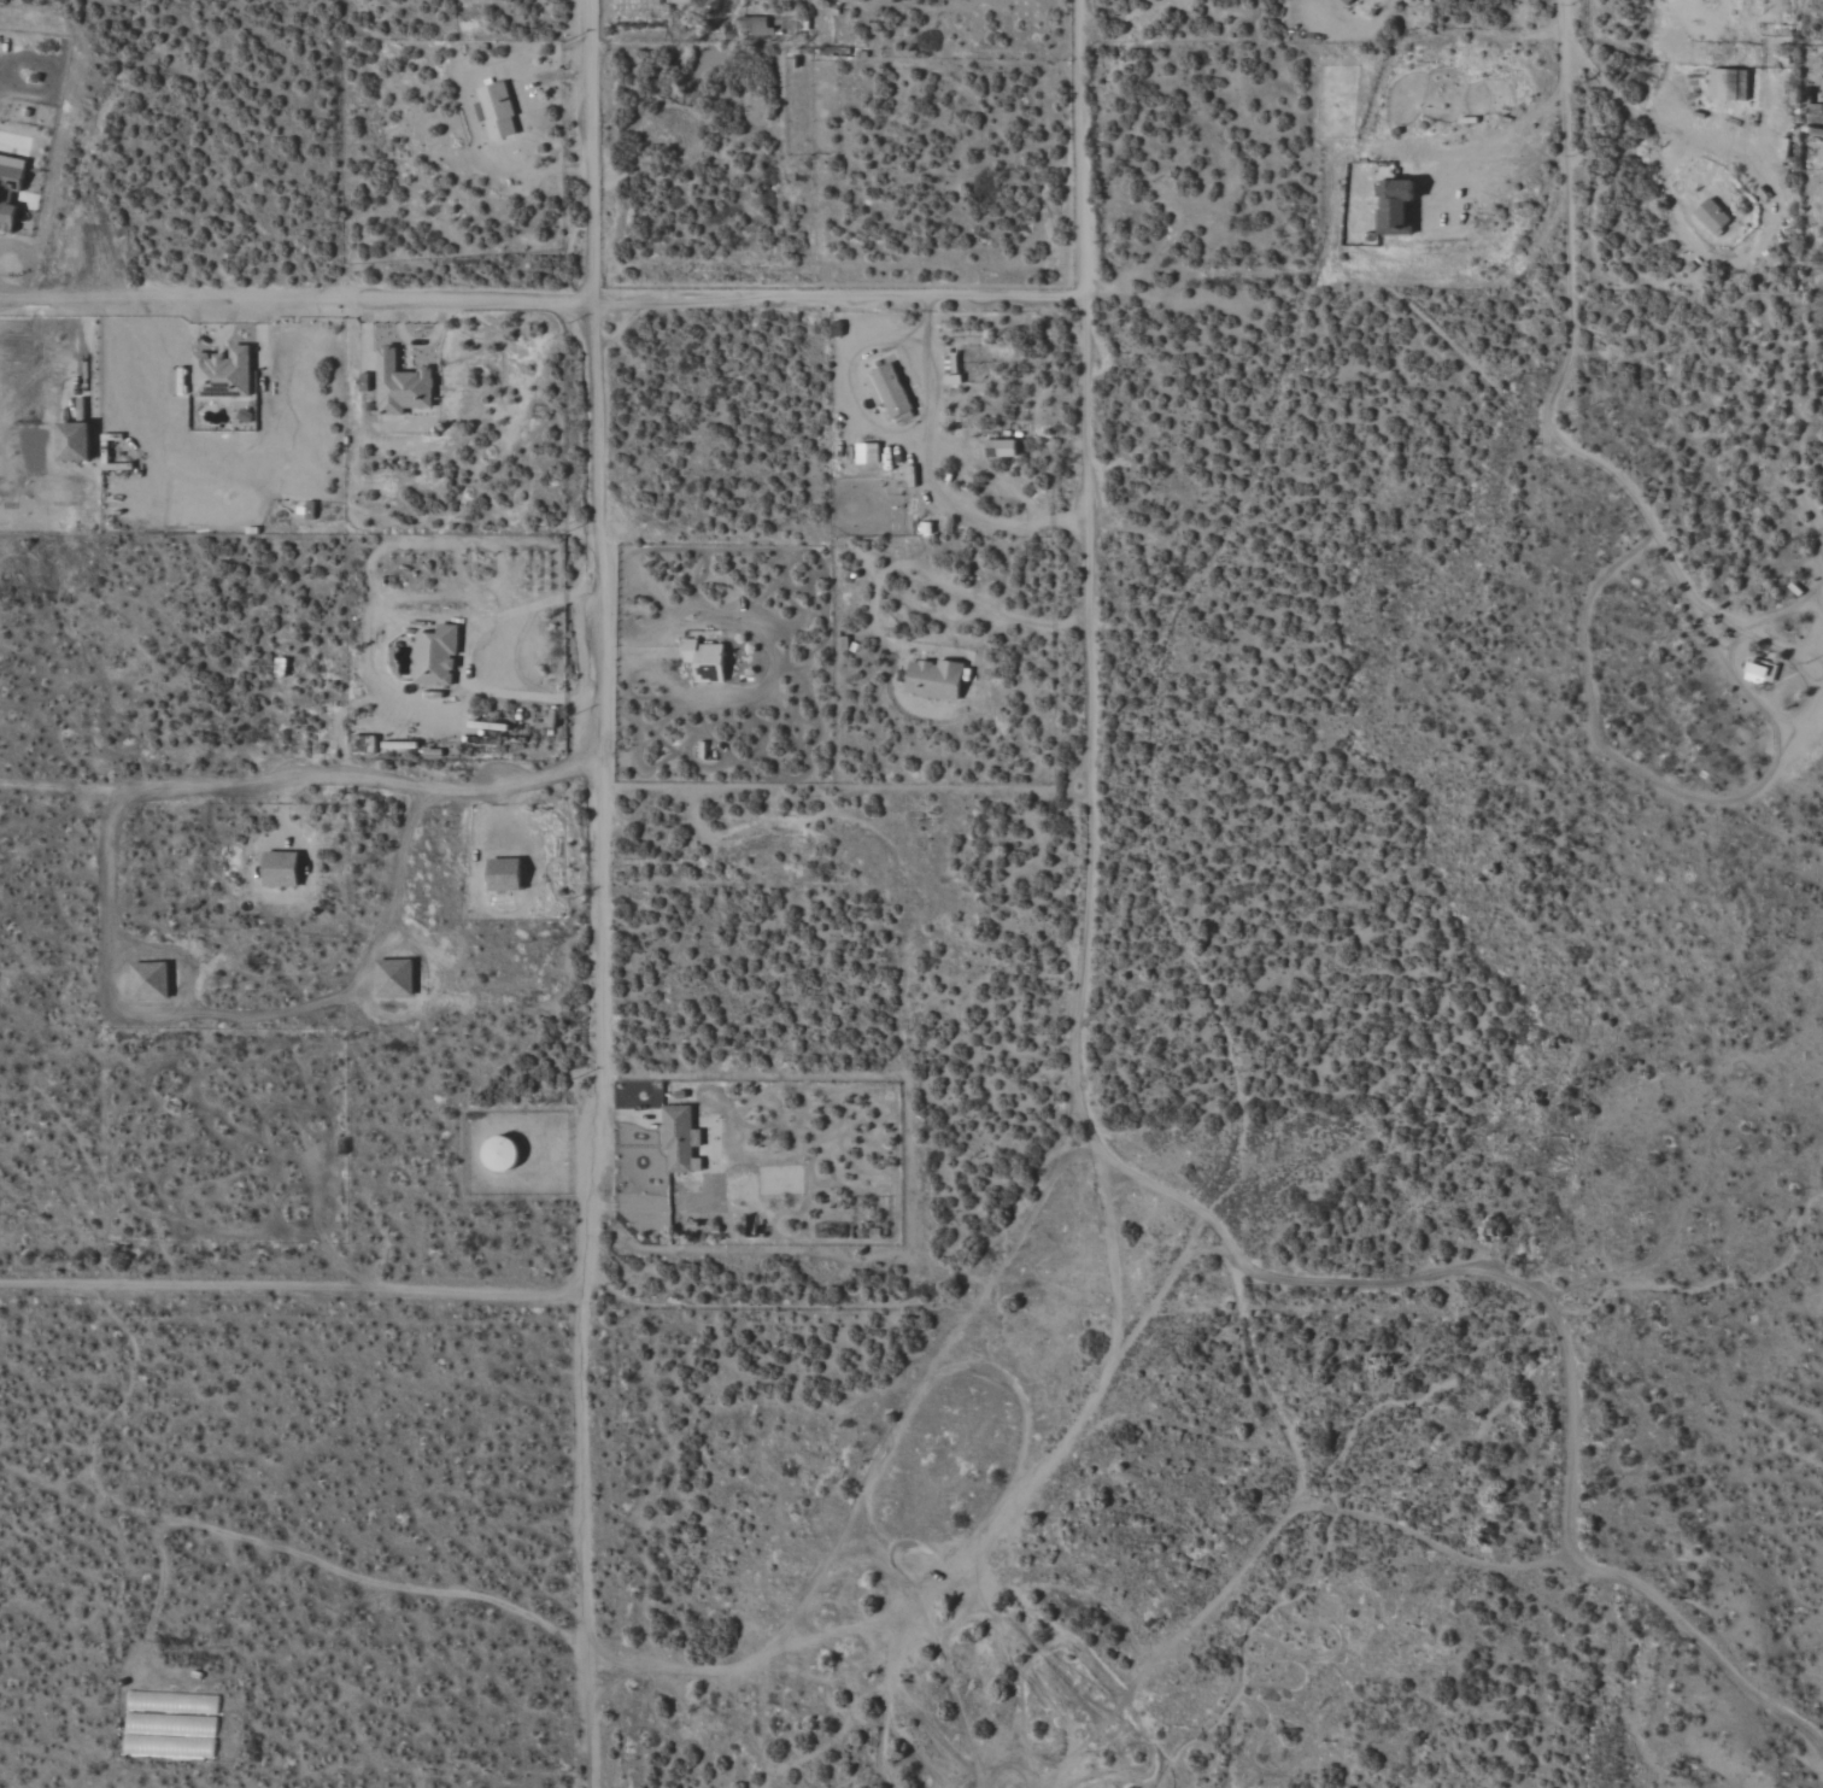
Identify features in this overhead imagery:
building: (1343, 1)
building: (1725, 86)
building: (496, 111)
road: (1566, 141)
building: (12, 188)
road: (1764, 189)
building: (1710, 217)
road: (297, 297)
road: (838, 300)
building: (229, 373)
building: (182, 381)
building: (405, 385)
building: (885, 392)
building: (81, 441)
building: (1000, 449)
building: (864, 455)
road: (925, 477)
road: (1626, 487)
building: (440, 655)
road: (467, 655)
building: (710, 661)
building: (1758, 672)
building: (940, 679)
road: (298, 775)
building: (286, 870)
building: (511, 874)
road: (596, 893)
road: (1173, 933)
building: (399, 978)
building: (154, 980)
road: (239, 1016)
road: (1085, 1116)
building: (508, 1154)
road: (298, 1286)

